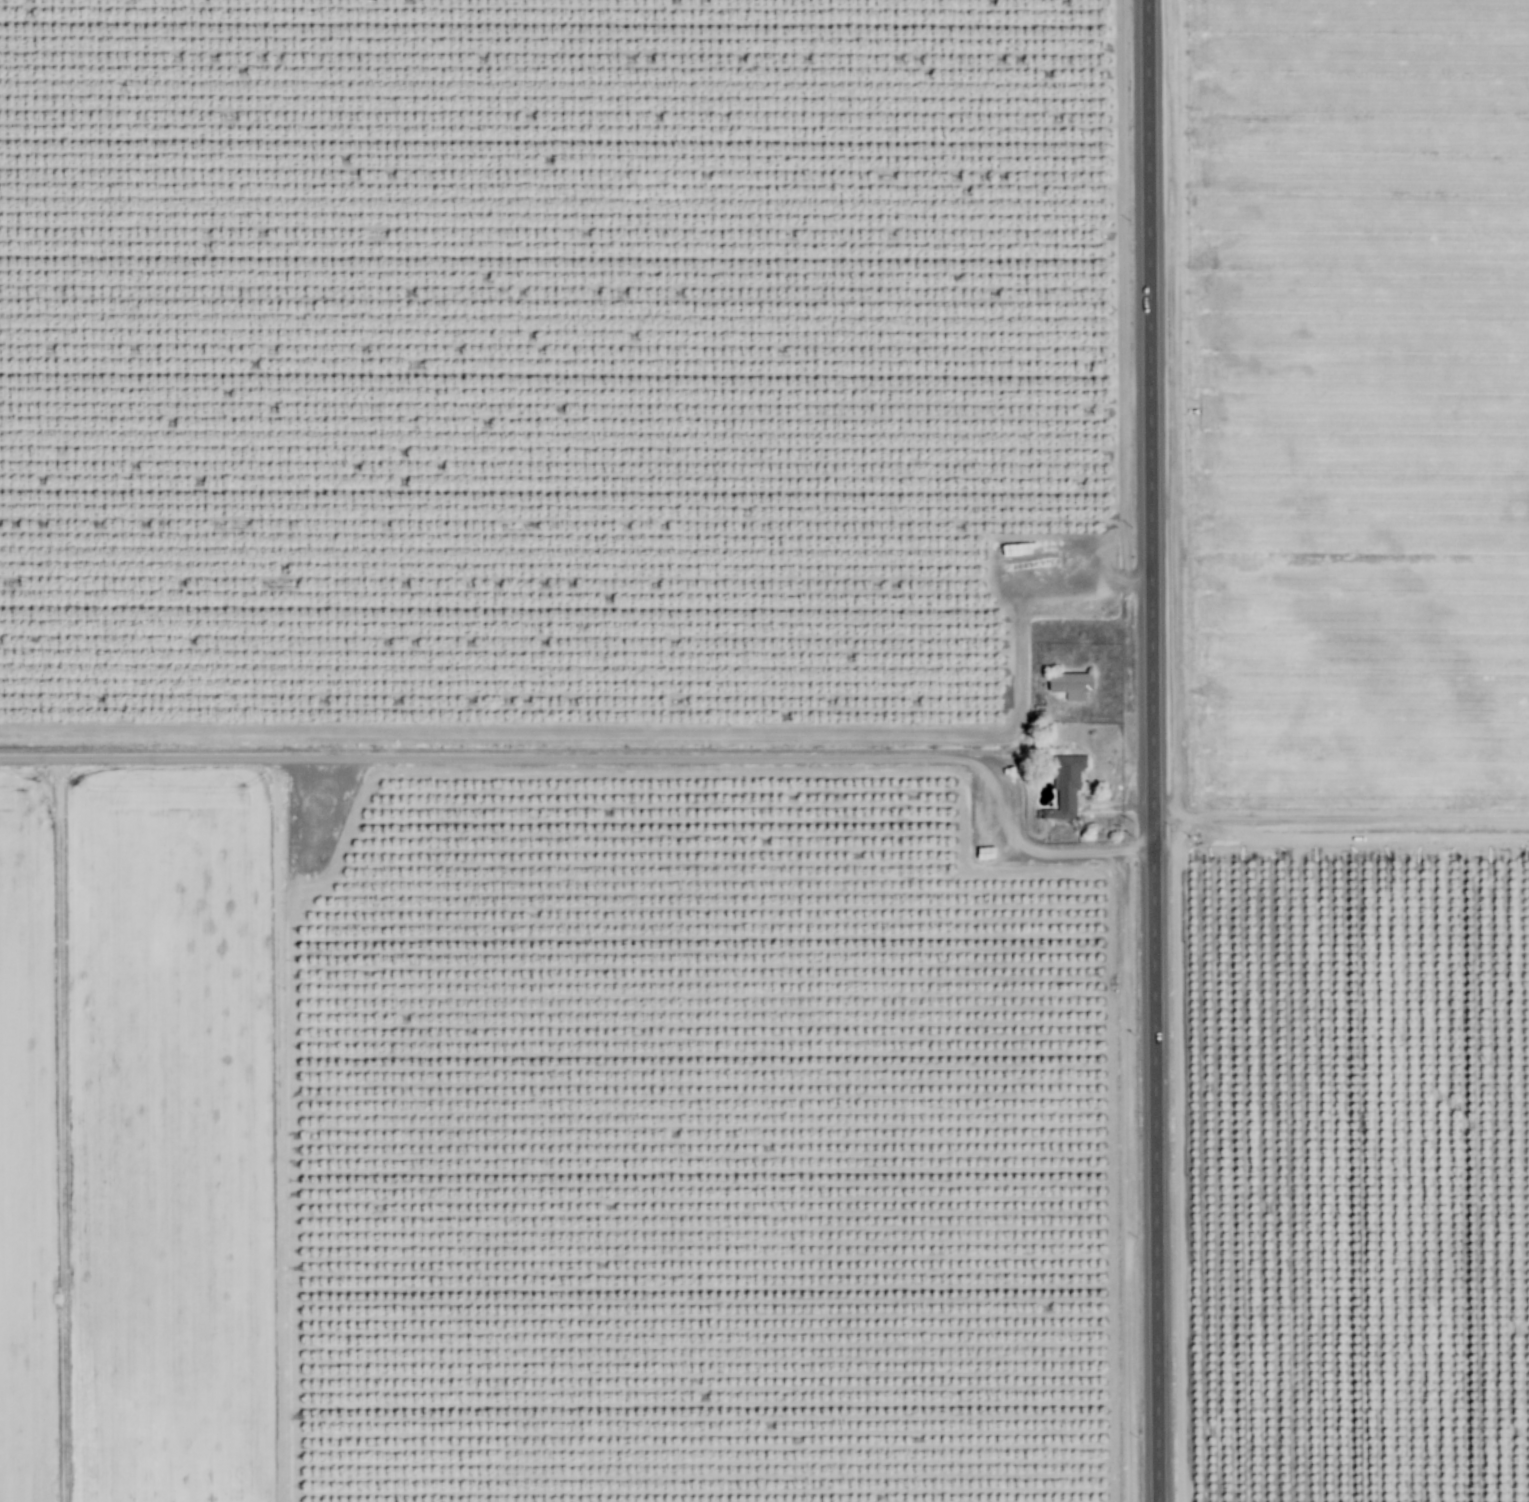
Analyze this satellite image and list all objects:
building: (1068, 686)
road: (1159, 751)
building: (1064, 788)

